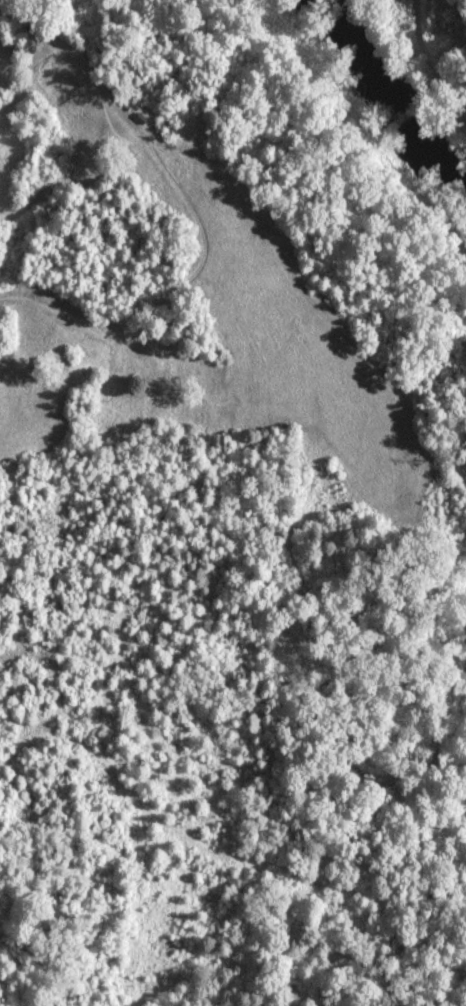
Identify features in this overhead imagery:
road: (186, 221)

